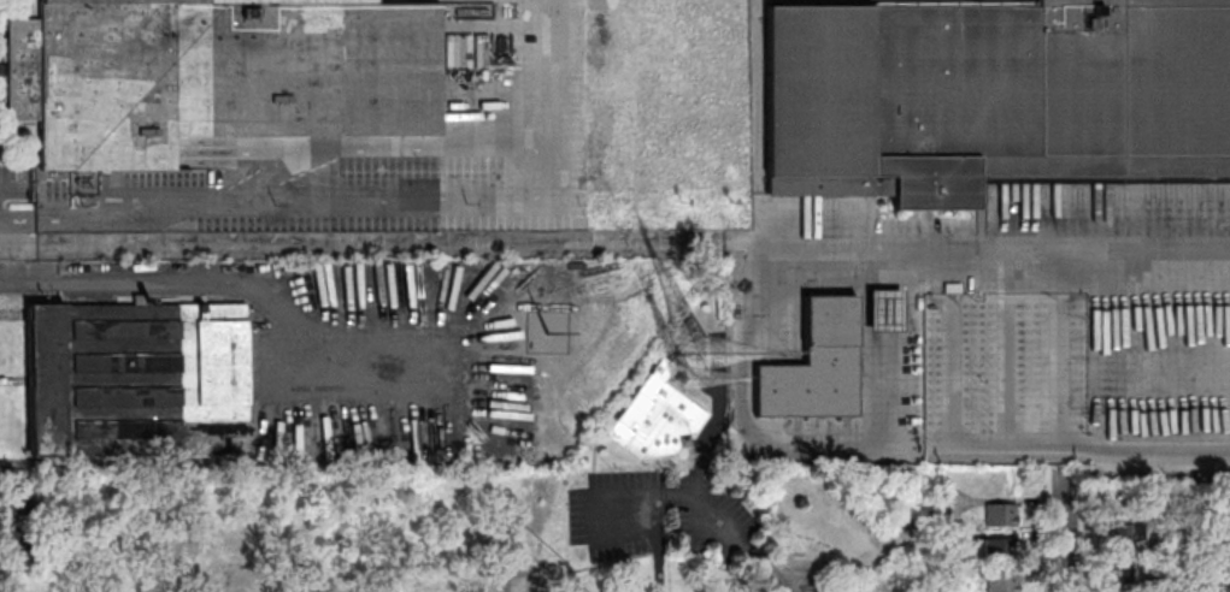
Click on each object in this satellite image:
building: (217, 76)
building: (991, 96)
parking lot: (382, 168)
road: (378, 208)
road: (616, 241)
road: (239, 283)
building: (885, 312)
building: (814, 363)
building: (133, 372)
building: (657, 419)
road: (705, 439)
road: (882, 456)
building: (65, 484)
road: (700, 496)
building: (24, 498)
parking lot: (664, 519)
building: (1004, 519)
building: (235, 528)
road: (1066, 531)
building: (1122, 540)
building: (953, 545)
building: (1161, 550)
building: (23, 551)
building: (1001, 553)
building: (181, 556)
building: (72, 566)
building: (1123, 576)
building: (953, 578)
building: (1004, 584)
building: (877, 586)
building: (1158, 586)
building: (25, 587)
road: (800, 590)
road: (522, 591)

